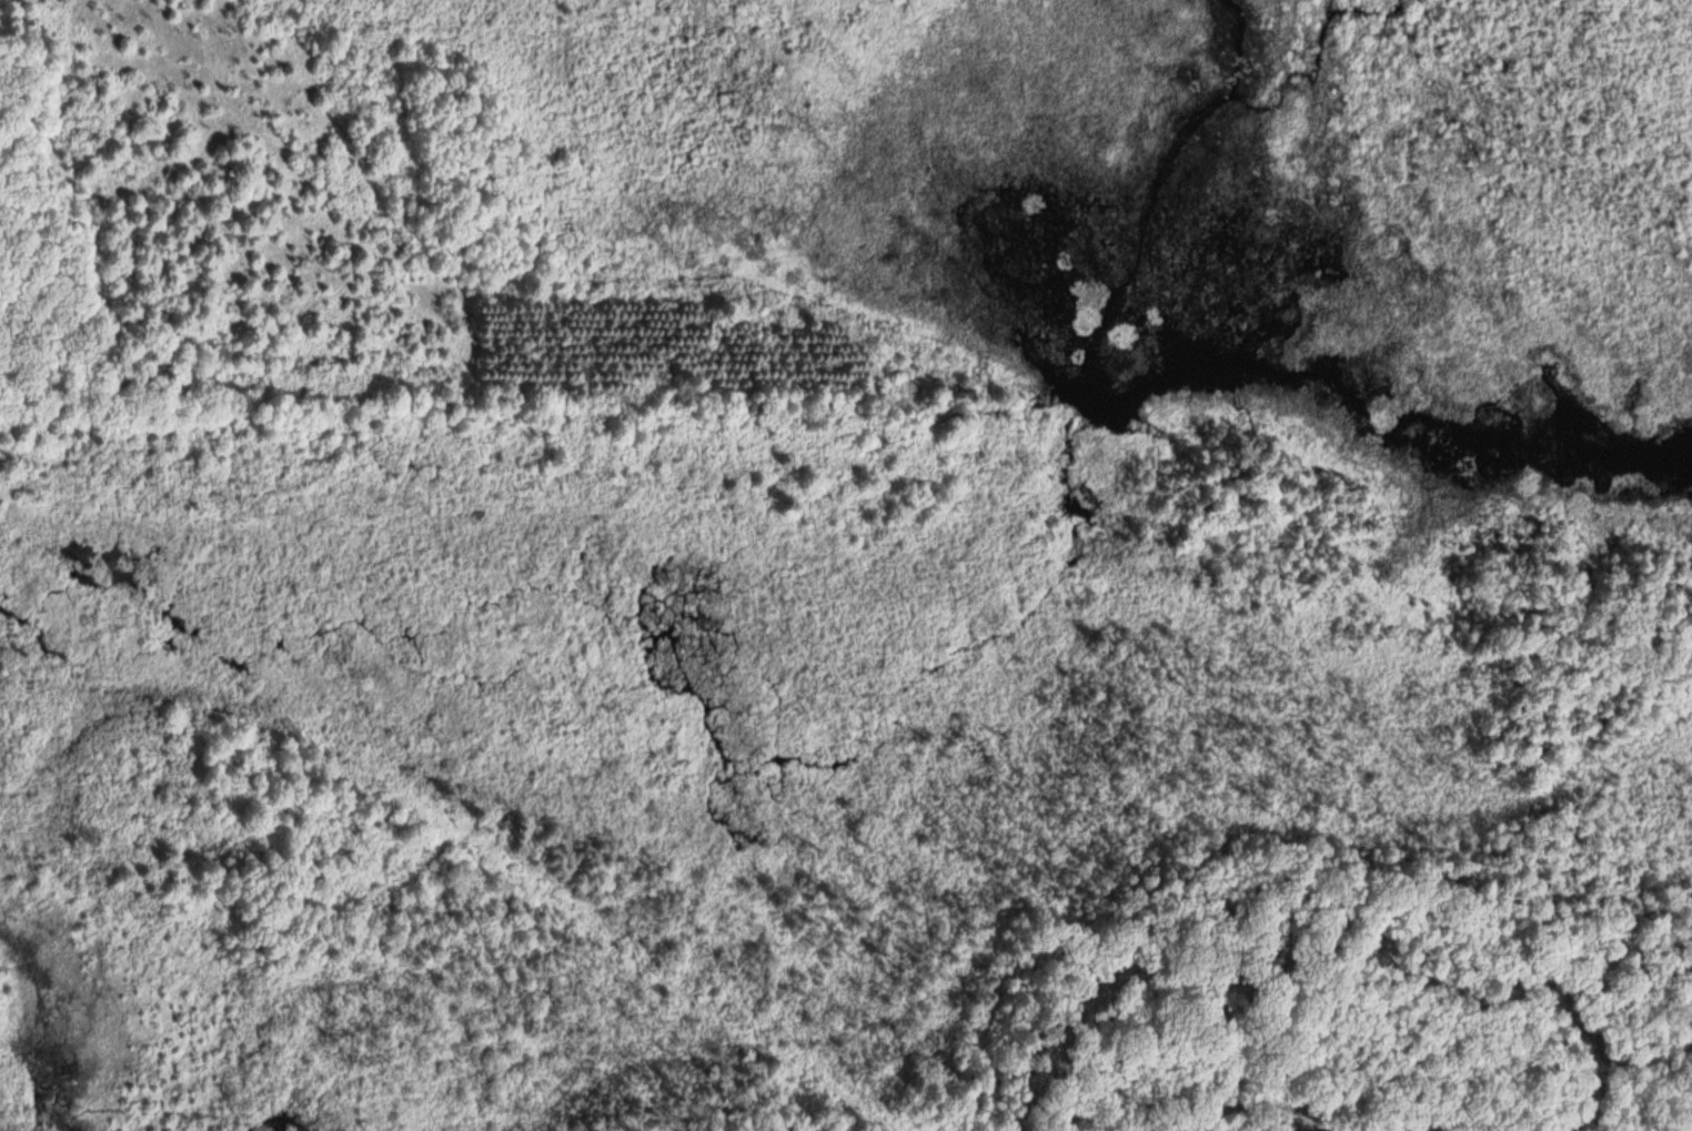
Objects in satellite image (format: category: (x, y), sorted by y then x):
road: (560, 901)

